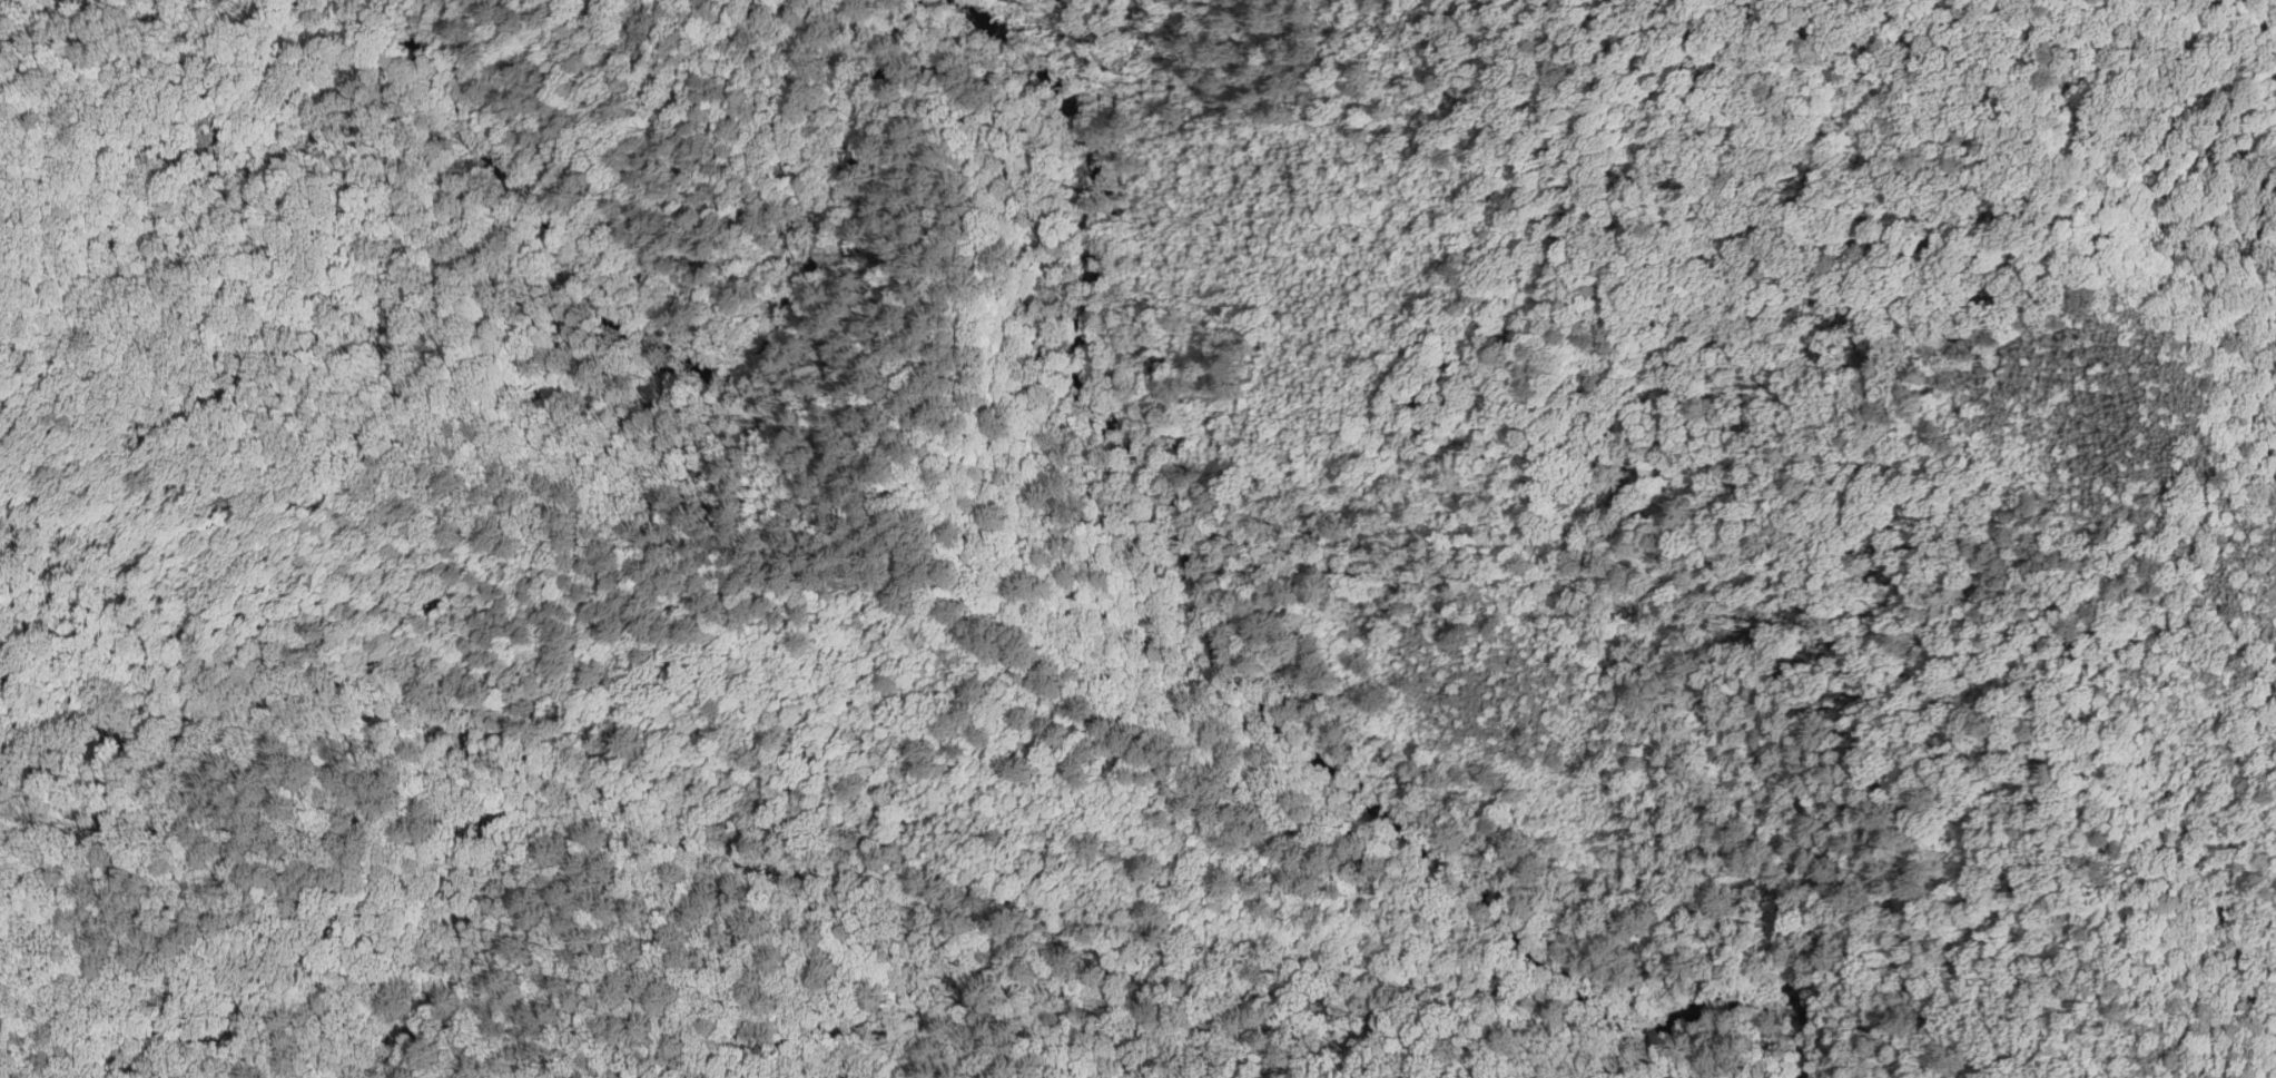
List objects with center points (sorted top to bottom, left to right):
road: (1714, 362)

